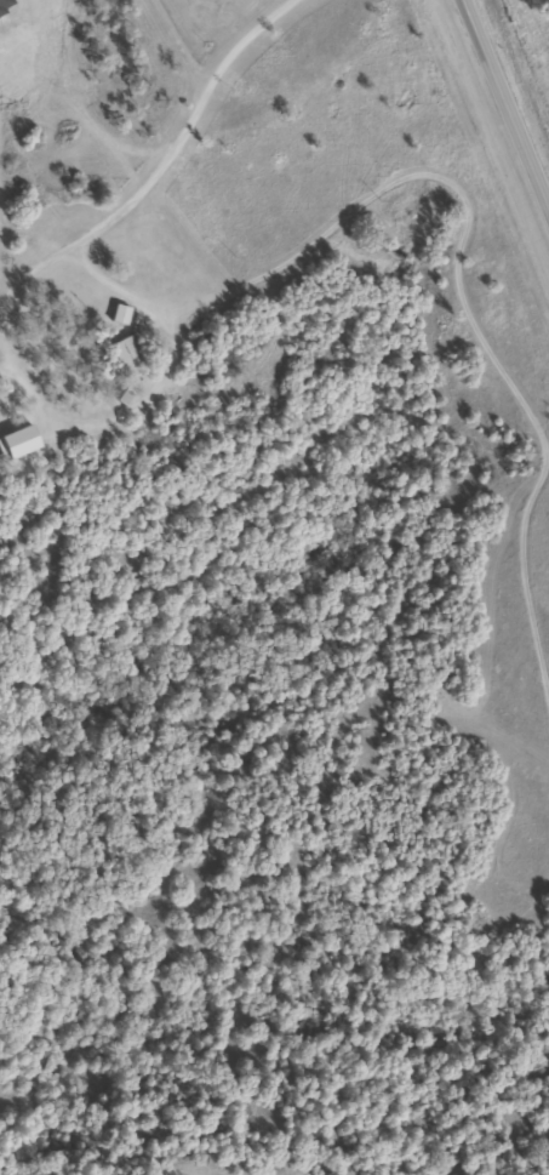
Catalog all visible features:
road: (504, 105)
building: (127, 357)
building: (120, 392)

